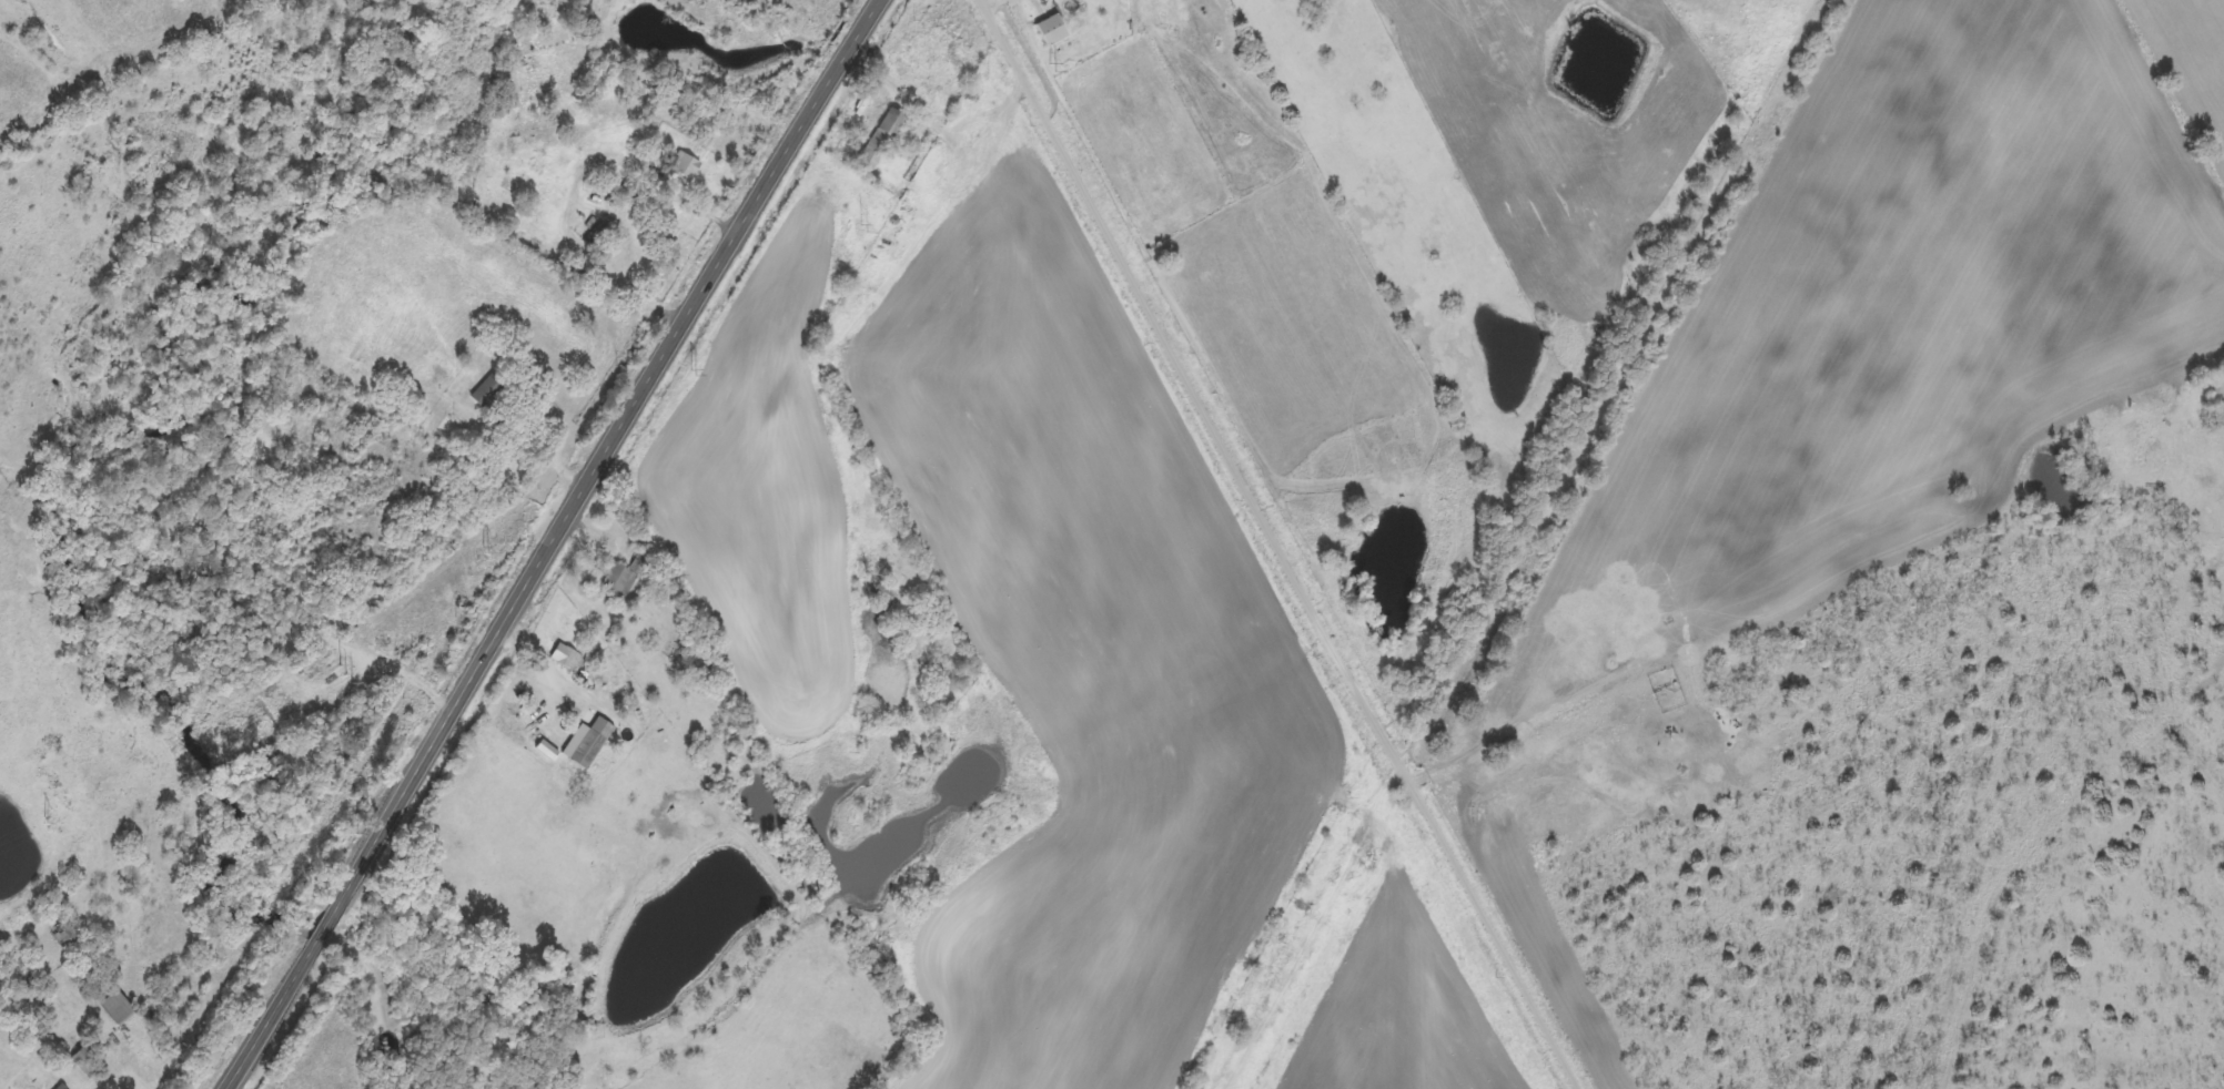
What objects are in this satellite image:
building: (1052, 31)
power tower: (1051, 69)
building: (879, 144)
building: (686, 167)
power tower: (862, 228)
power tower: (691, 373)
building: (489, 391)
road: (556, 544)
railway: (1522, 544)
road: (1282, 546)
power tower: (484, 550)
building: (625, 578)
building: (568, 660)
power tower: (346, 675)
building: (588, 744)
power tower: (43, 820)
building: (117, 1008)
building: (87, 1062)
building: (59, 1087)

